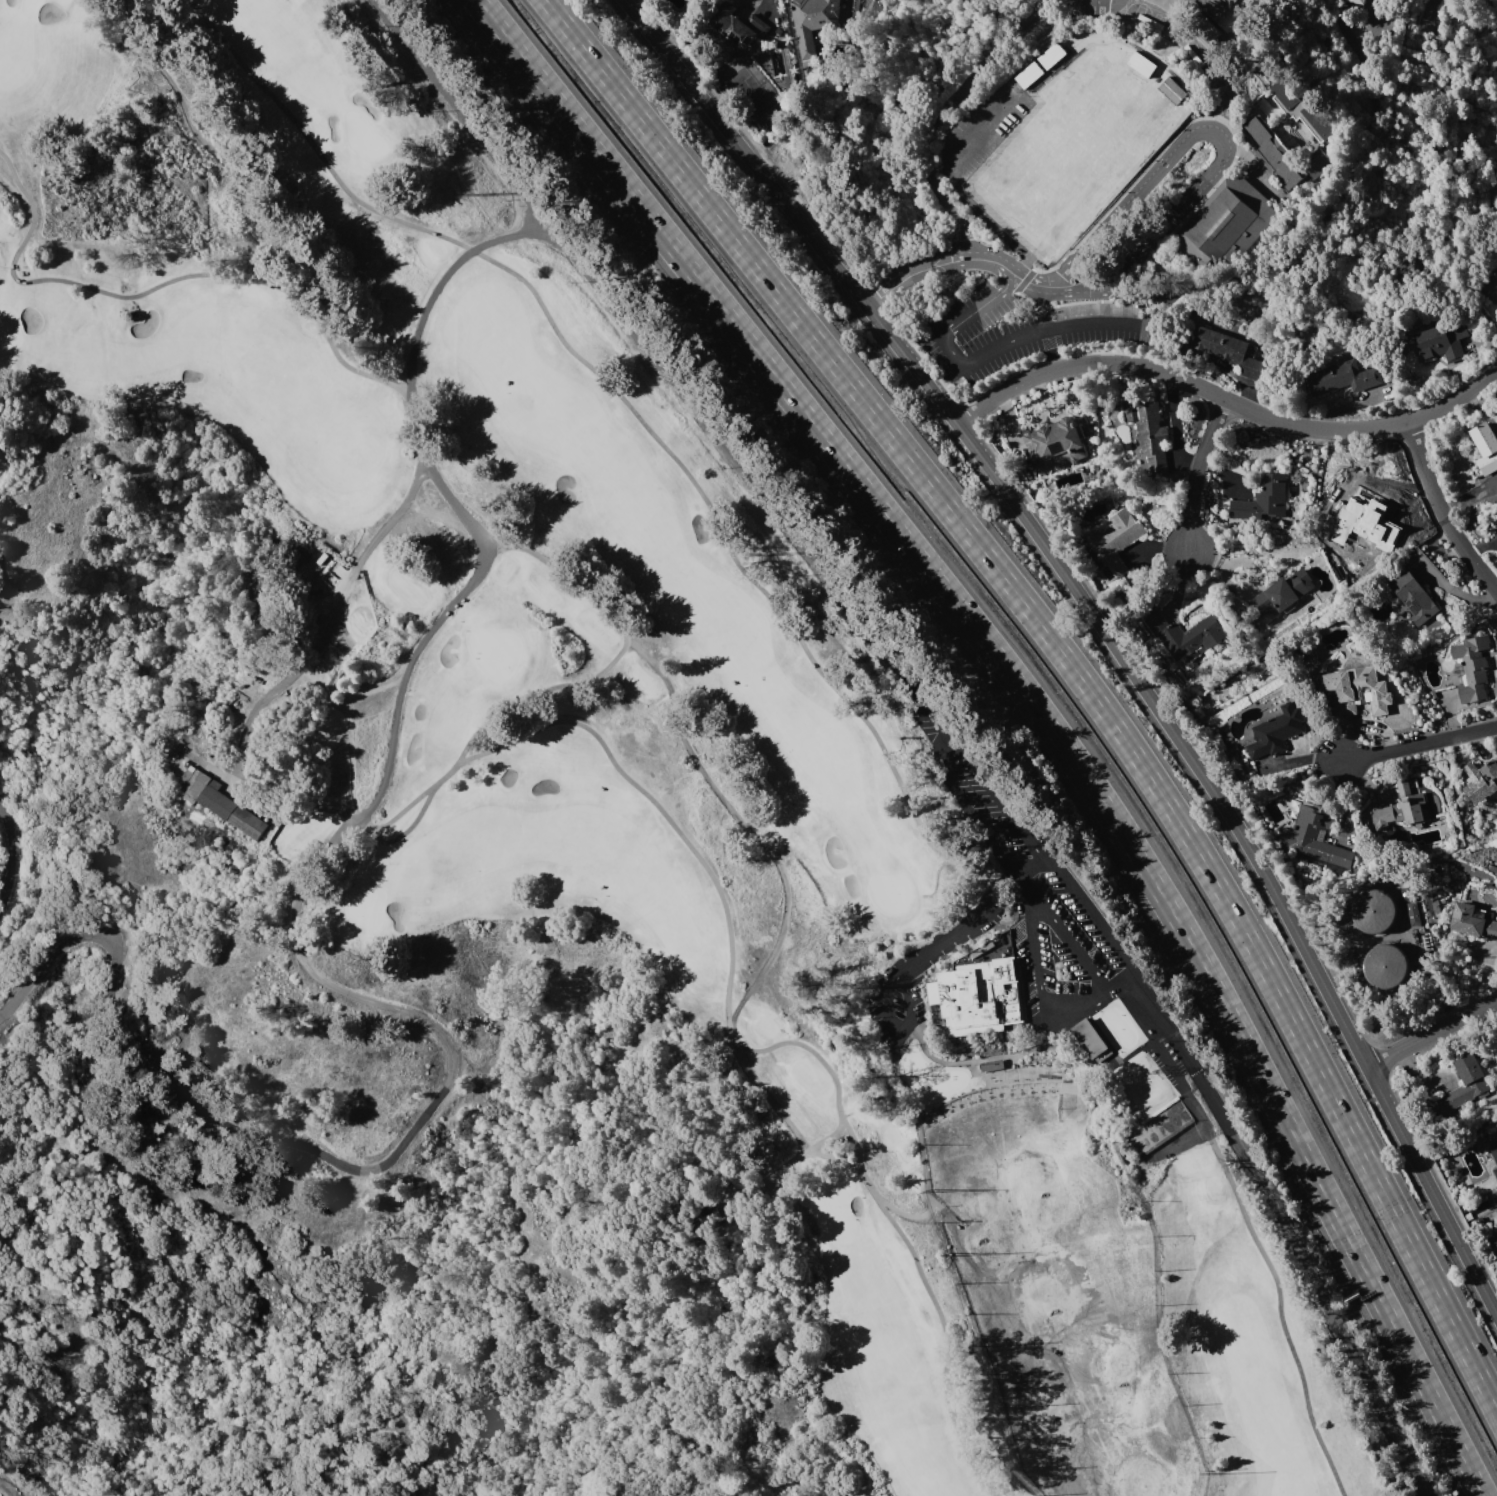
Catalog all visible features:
park: (66, 1)
building: (1355, 2)
park: (29, 5)
building: (1217, 7)
building: (811, 22)
building: (738, 24)
building: (1208, 29)
road: (1198, 46)
building: (1051, 54)
building: (1141, 63)
building: (1029, 73)
building: (1172, 89)
road: (954, 98)
building: (1301, 106)
road: (455, 113)
road: (1212, 125)
park: (366, 137)
park: (1072, 149)
building: (1285, 155)
road: (12, 167)
power tower: (478, 193)
building: (1230, 220)
road: (1339, 233)
road: (968, 236)
road: (987, 259)
road: (941, 261)
road: (15, 266)
road: (1006, 269)
building: (1495, 272)
road: (1035, 281)
road: (885, 283)
road: (272, 284)
road: (1058, 284)
road: (1078, 288)
road: (1043, 305)
park: (9, 328)
building: (1443, 340)
road: (1006, 342)
building: (1230, 350)
building: (1342, 377)
road: (1226, 400)
road: (638, 417)
building: (1149, 435)
building: (1056, 442)
building: (1486, 446)
road: (1201, 470)
road: (751, 484)
building: (1263, 500)
road: (1444, 509)
road: (480, 537)
building: (1114, 542)
power tower: (760, 553)
building: (1282, 596)
building: (1414, 597)
road: (329, 624)
road: (1103, 626)
building: (1185, 635)
park: (496, 652)
road: (619, 654)
road: (1074, 668)
building: (1472, 668)
building: (1358, 691)
road: (1038, 709)
building: (1274, 731)
road: (1417, 742)
park: (638, 744)
building: (1482, 781)
road: (1002, 797)
building: (224, 804)
road: (967, 806)
building: (1403, 807)
road: (289, 810)
building: (1312, 840)
road: (382, 841)
road: (761, 842)
power tower: (982, 847)
road: (18, 853)
road: (1032, 863)
park: (890, 894)
park: (368, 906)
water tower: (1373, 907)
building: (1373, 911)
building: (1472, 922)
road: (963, 925)
road: (1060, 932)
water tower: (1384, 967)
building: (1385, 967)
road: (1119, 981)
road: (1039, 989)
building: (978, 997)
road: (894, 1024)
park: (1120, 1025)
building: (1093, 1034)
road: (1434, 1038)
road: (747, 1050)
power tower: (1162, 1070)
park: (930, 1077)
building: (1465, 1084)
building: (1069, 1087)
building: (1163, 1124)
road: (315, 1151)
road: (815, 1152)
building: (1494, 1152)
road: (923, 1161)
road: (1252, 1165)
building: (1495, 1171)
building: (712, 1214)
park: (835, 1214)
building: (1495, 1243)
road: (1281, 1313)
road: (7, 1488)

